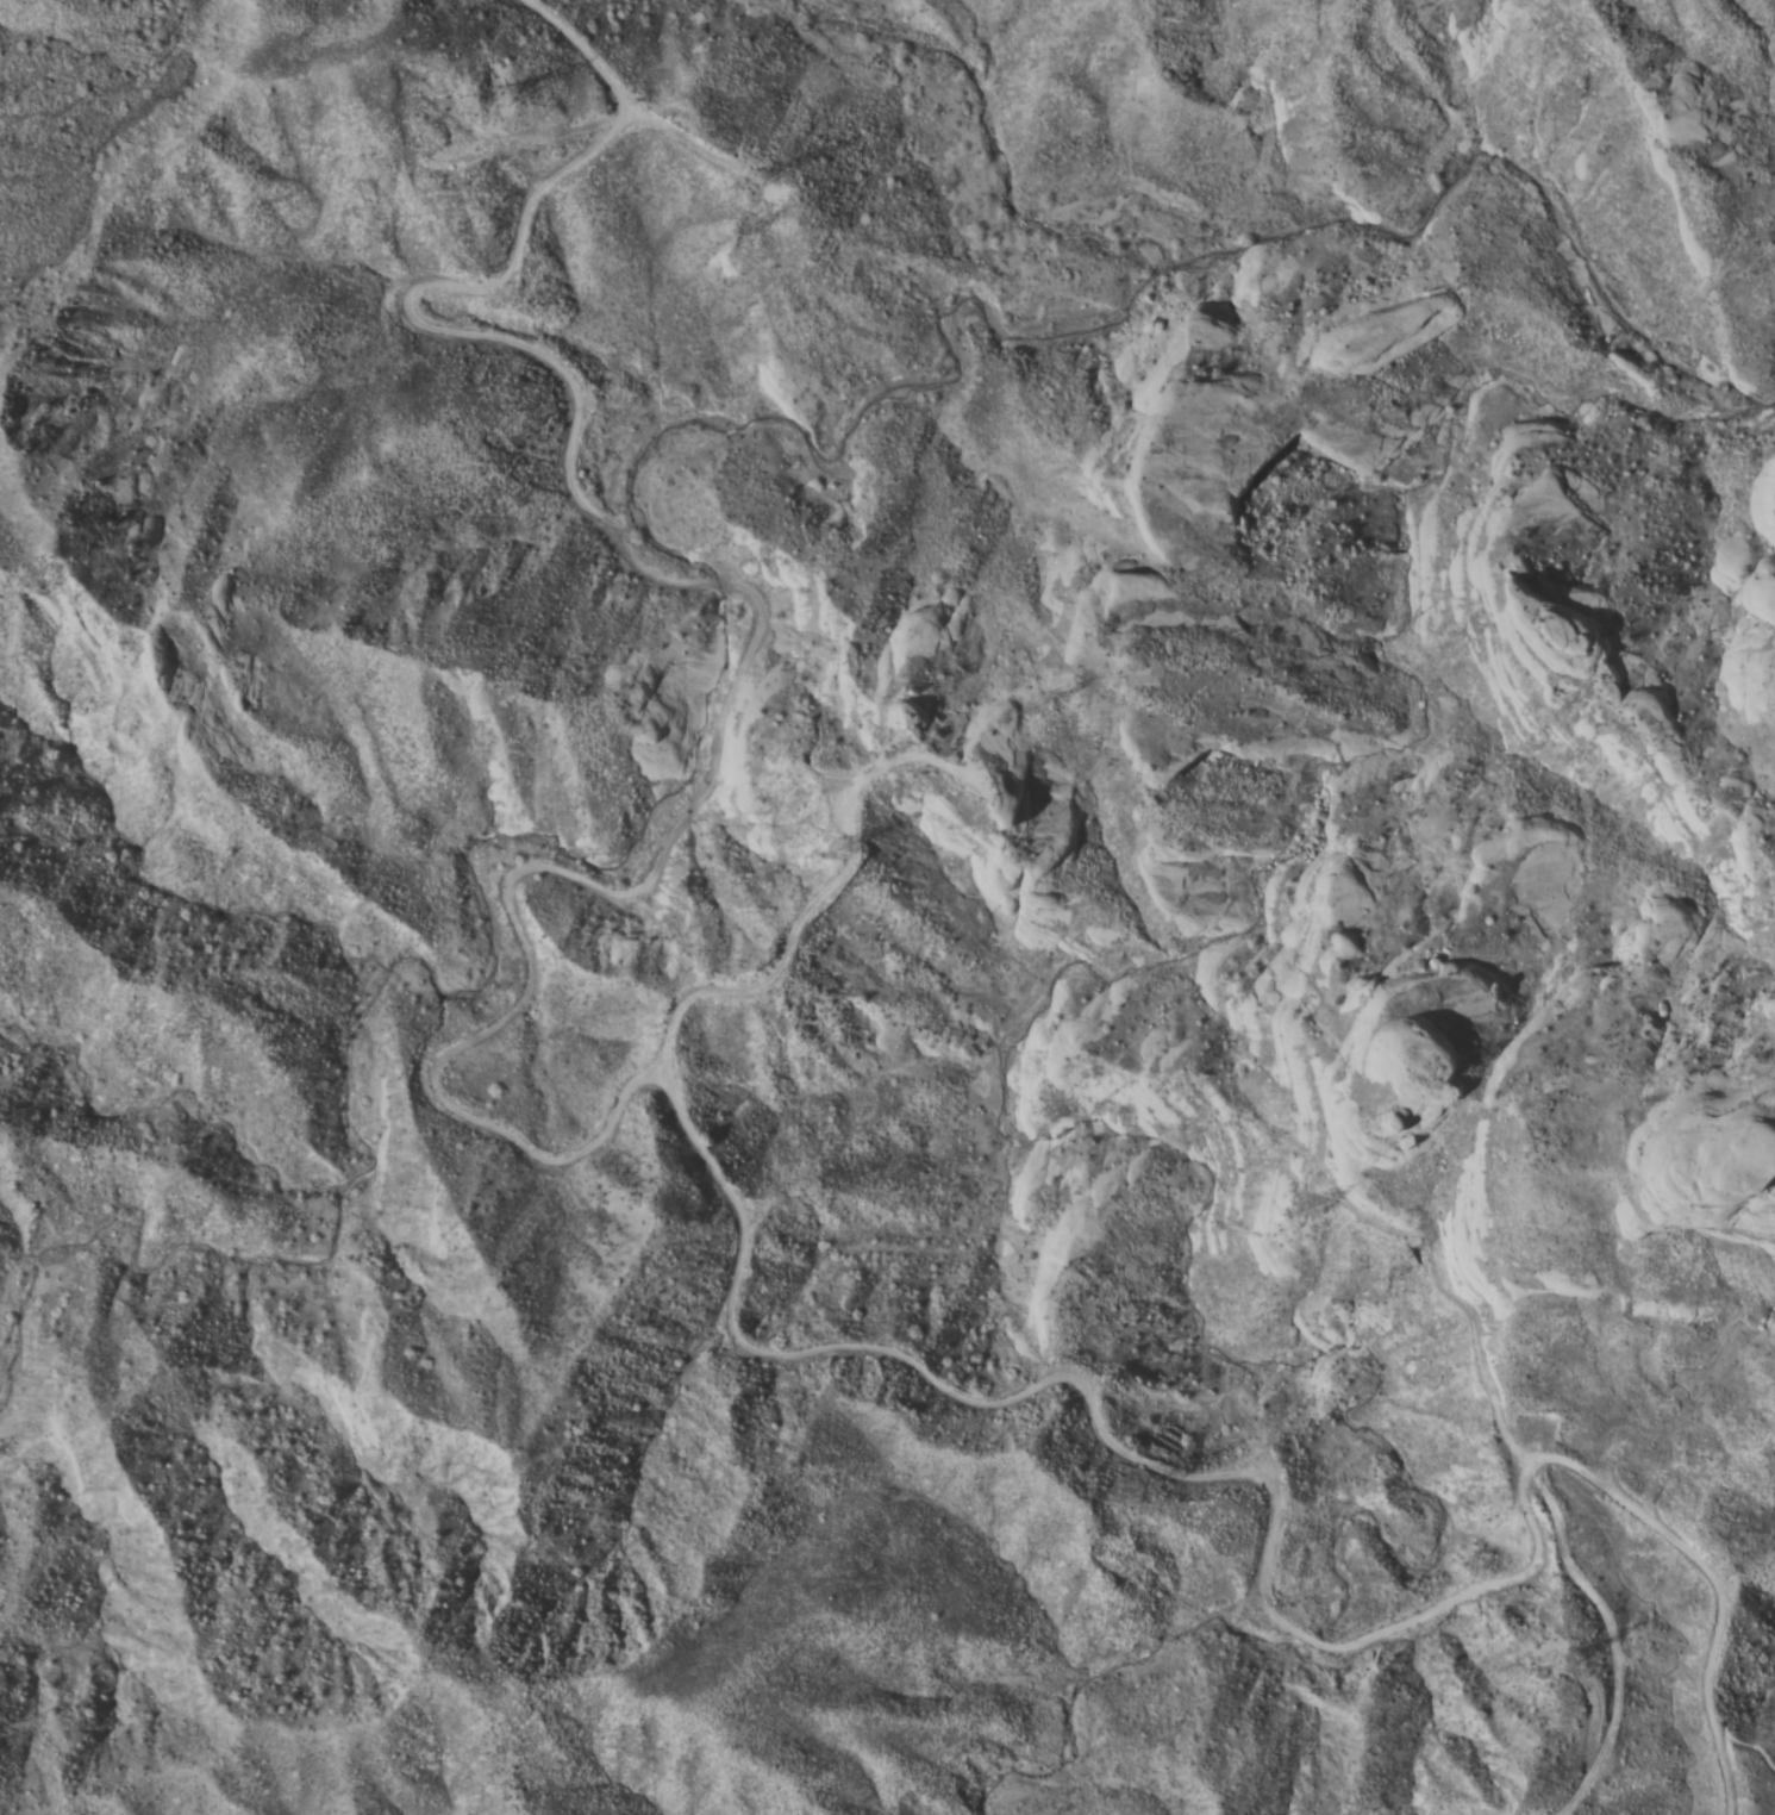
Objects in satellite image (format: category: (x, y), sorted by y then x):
power tower: (504, 108)
road: (627, 119)
power tower: (788, 160)
power tower: (843, 827)
road: (811, 900)
road: (620, 1111)
power tower: (1318, 1196)
road: (1533, 1473)
power tower: (1114, 1484)
power tower: (1567, 1644)
road: (1750, 1746)
road: (1713, 1776)

